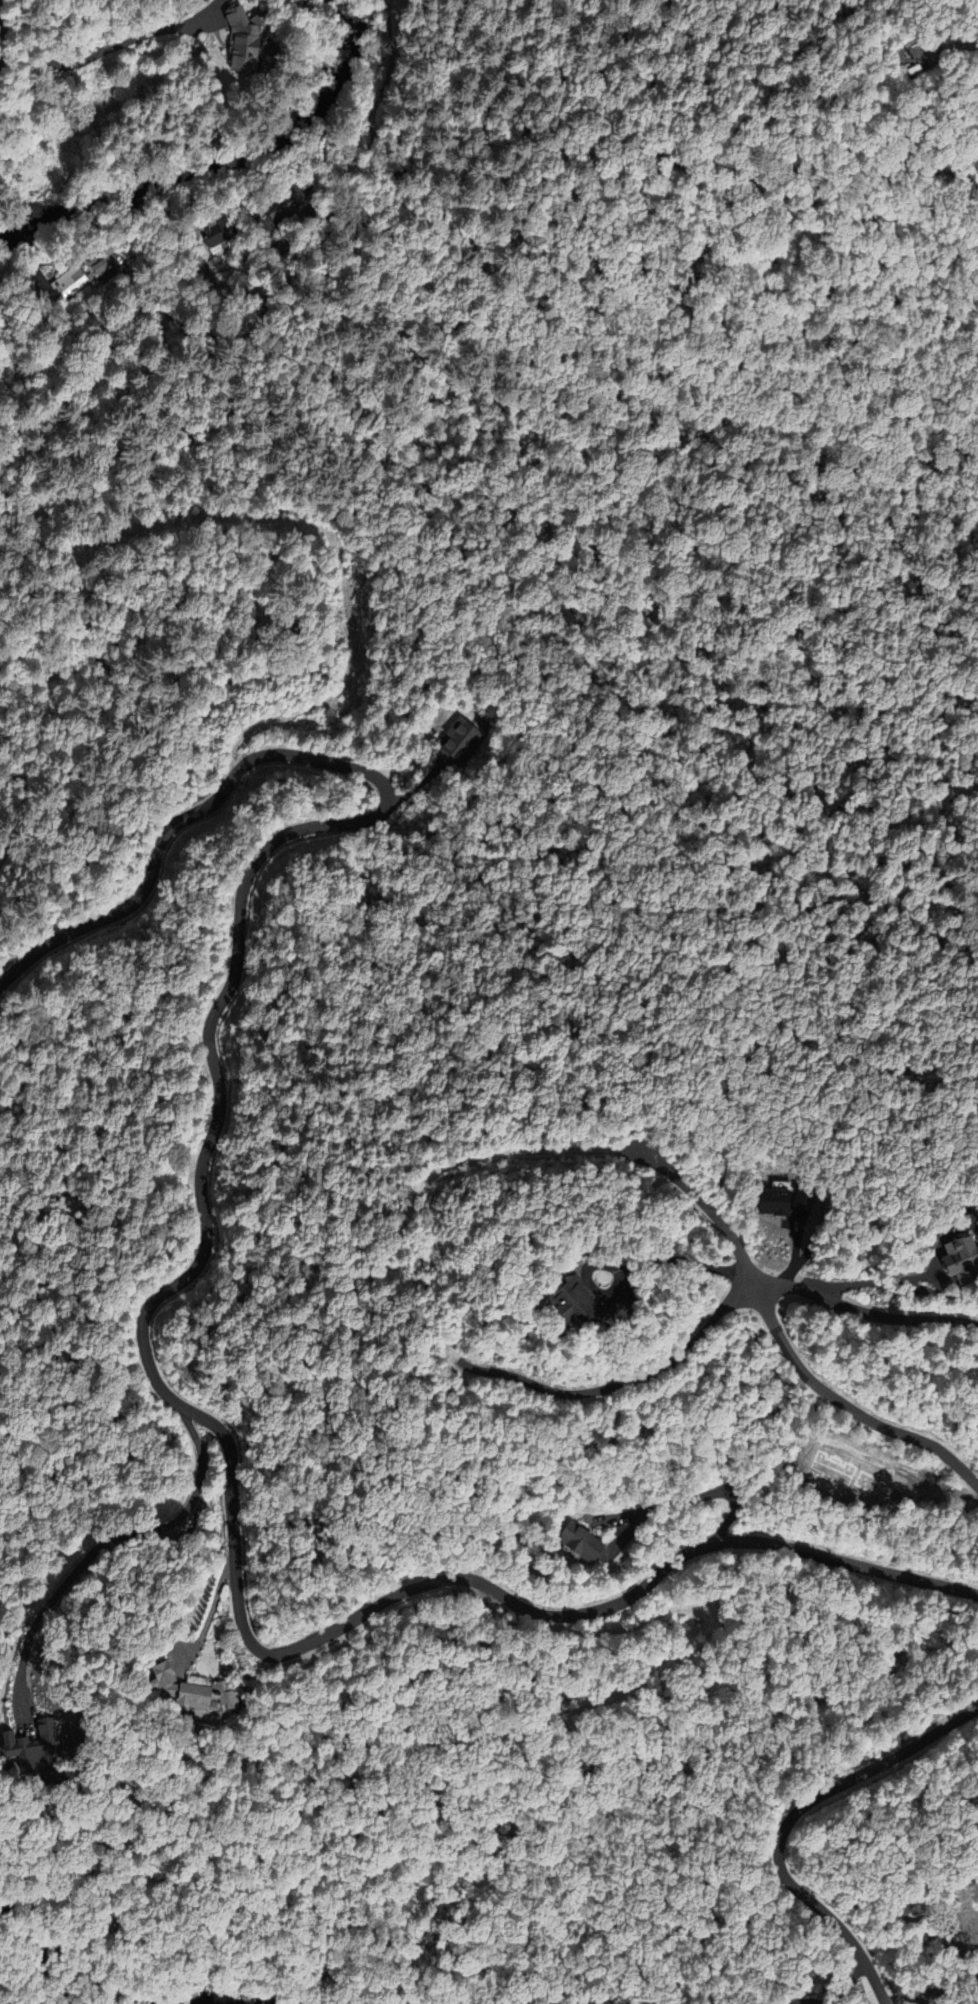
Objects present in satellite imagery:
building: (241, 42)
building: (905, 61)
building: (279, 205)
road: (346, 228)
building: (213, 235)
building: (60, 284)
building: (457, 739)
road: (733, 1240)
building: (960, 1260)
building: (569, 1301)
road: (863, 1311)
road: (143, 1313)
road: (110, 1538)
building: (575, 1542)
building: (180, 1692)
building: (29, 1747)
road: (792, 1821)

